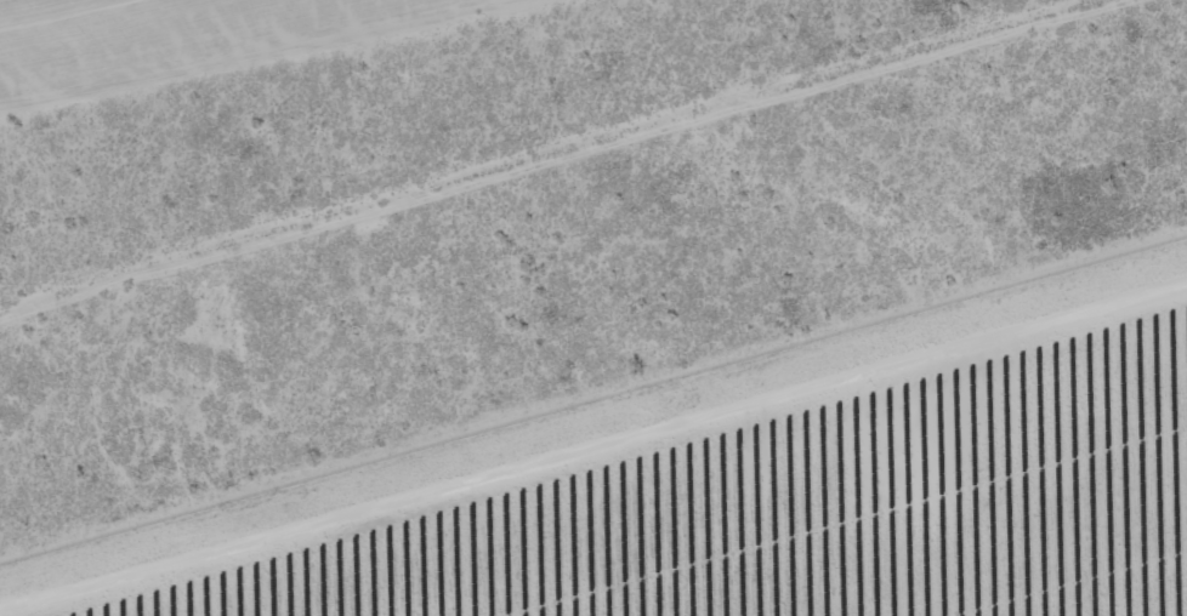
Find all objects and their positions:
solar farm: (742, 486)

